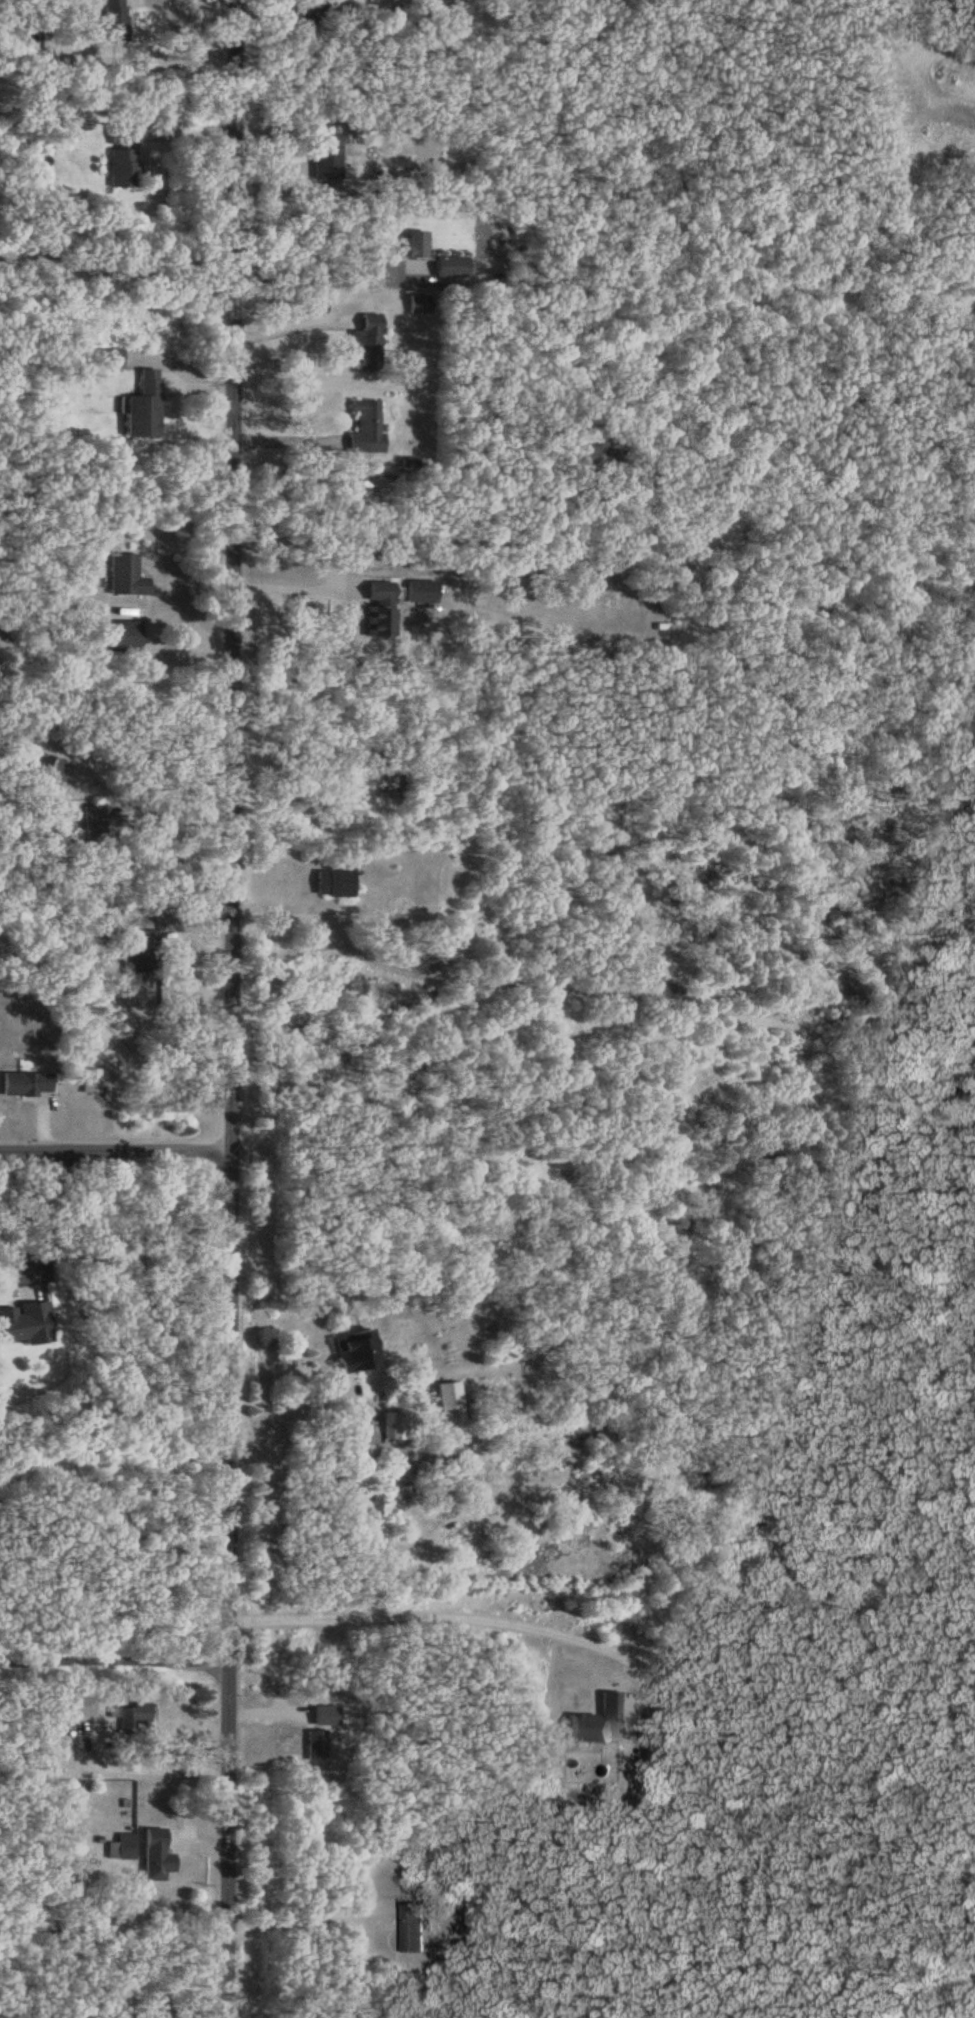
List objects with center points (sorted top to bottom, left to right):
building: (312, 11)
building: (359, 15)
building: (115, 20)
building: (328, 155)
building: (123, 156)
building: (416, 242)
building: (452, 265)
road: (115, 270)
road: (313, 278)
building: (420, 302)
road: (291, 326)
building: (368, 342)
building: (143, 406)
building: (366, 424)
road: (283, 439)
building: (594, 448)
road: (428, 535)
building: (125, 575)
road: (288, 587)
building: (422, 590)
building: (380, 609)
building: (118, 635)
road: (156, 758)
building: (47, 765)
road: (175, 806)
building: (92, 822)
building: (336, 881)
building: (143, 955)
road: (233, 1009)
road: (117, 1039)
building: (25, 1083)
road: (117, 1149)
road: (50, 1207)
building: (355, 1351)
road: (320, 1384)
building: (448, 1402)
building: (390, 1425)
building: (360, 1443)
road: (463, 1616)
road: (113, 1658)
building: (80, 1706)
building: (131, 1717)
building: (597, 1722)
building: (315, 1744)
road: (135, 1768)
building: (121, 1847)
building: (156, 1855)
road: (293, 1916)
building: (418, 1925)

